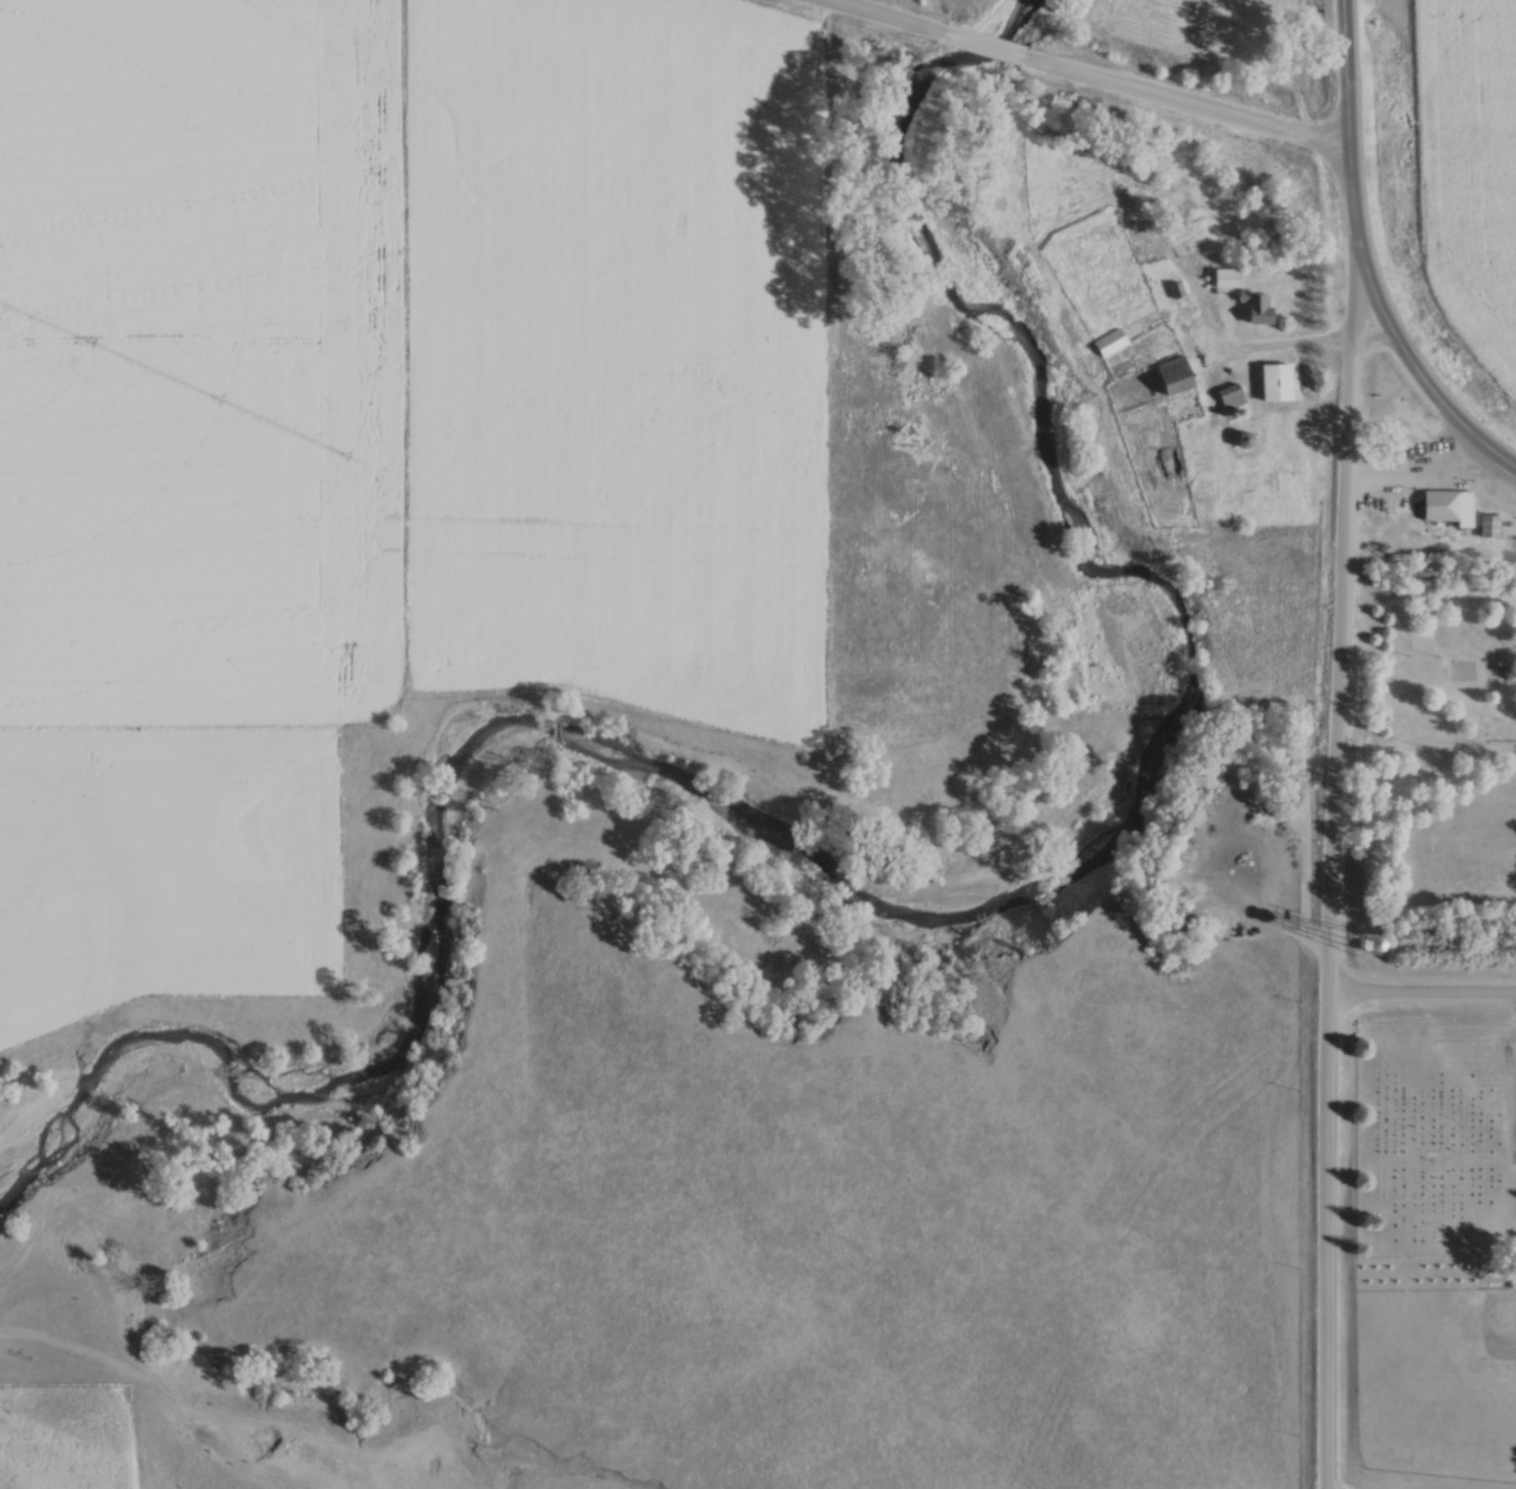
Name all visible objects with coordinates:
road: (878, 17)
road: (984, 47)
road: (1188, 105)
road: (1364, 262)
building: (1223, 278)
building: (1255, 307)
building: (1107, 343)
road: (1275, 350)
building: (1170, 376)
building: (1274, 383)
building: (1230, 397)
building: (903, 440)
building: (1449, 507)
building: (1489, 525)
road: (1333, 867)
road: (1271, 920)
water tower: (1363, 945)
road: (1422, 996)

